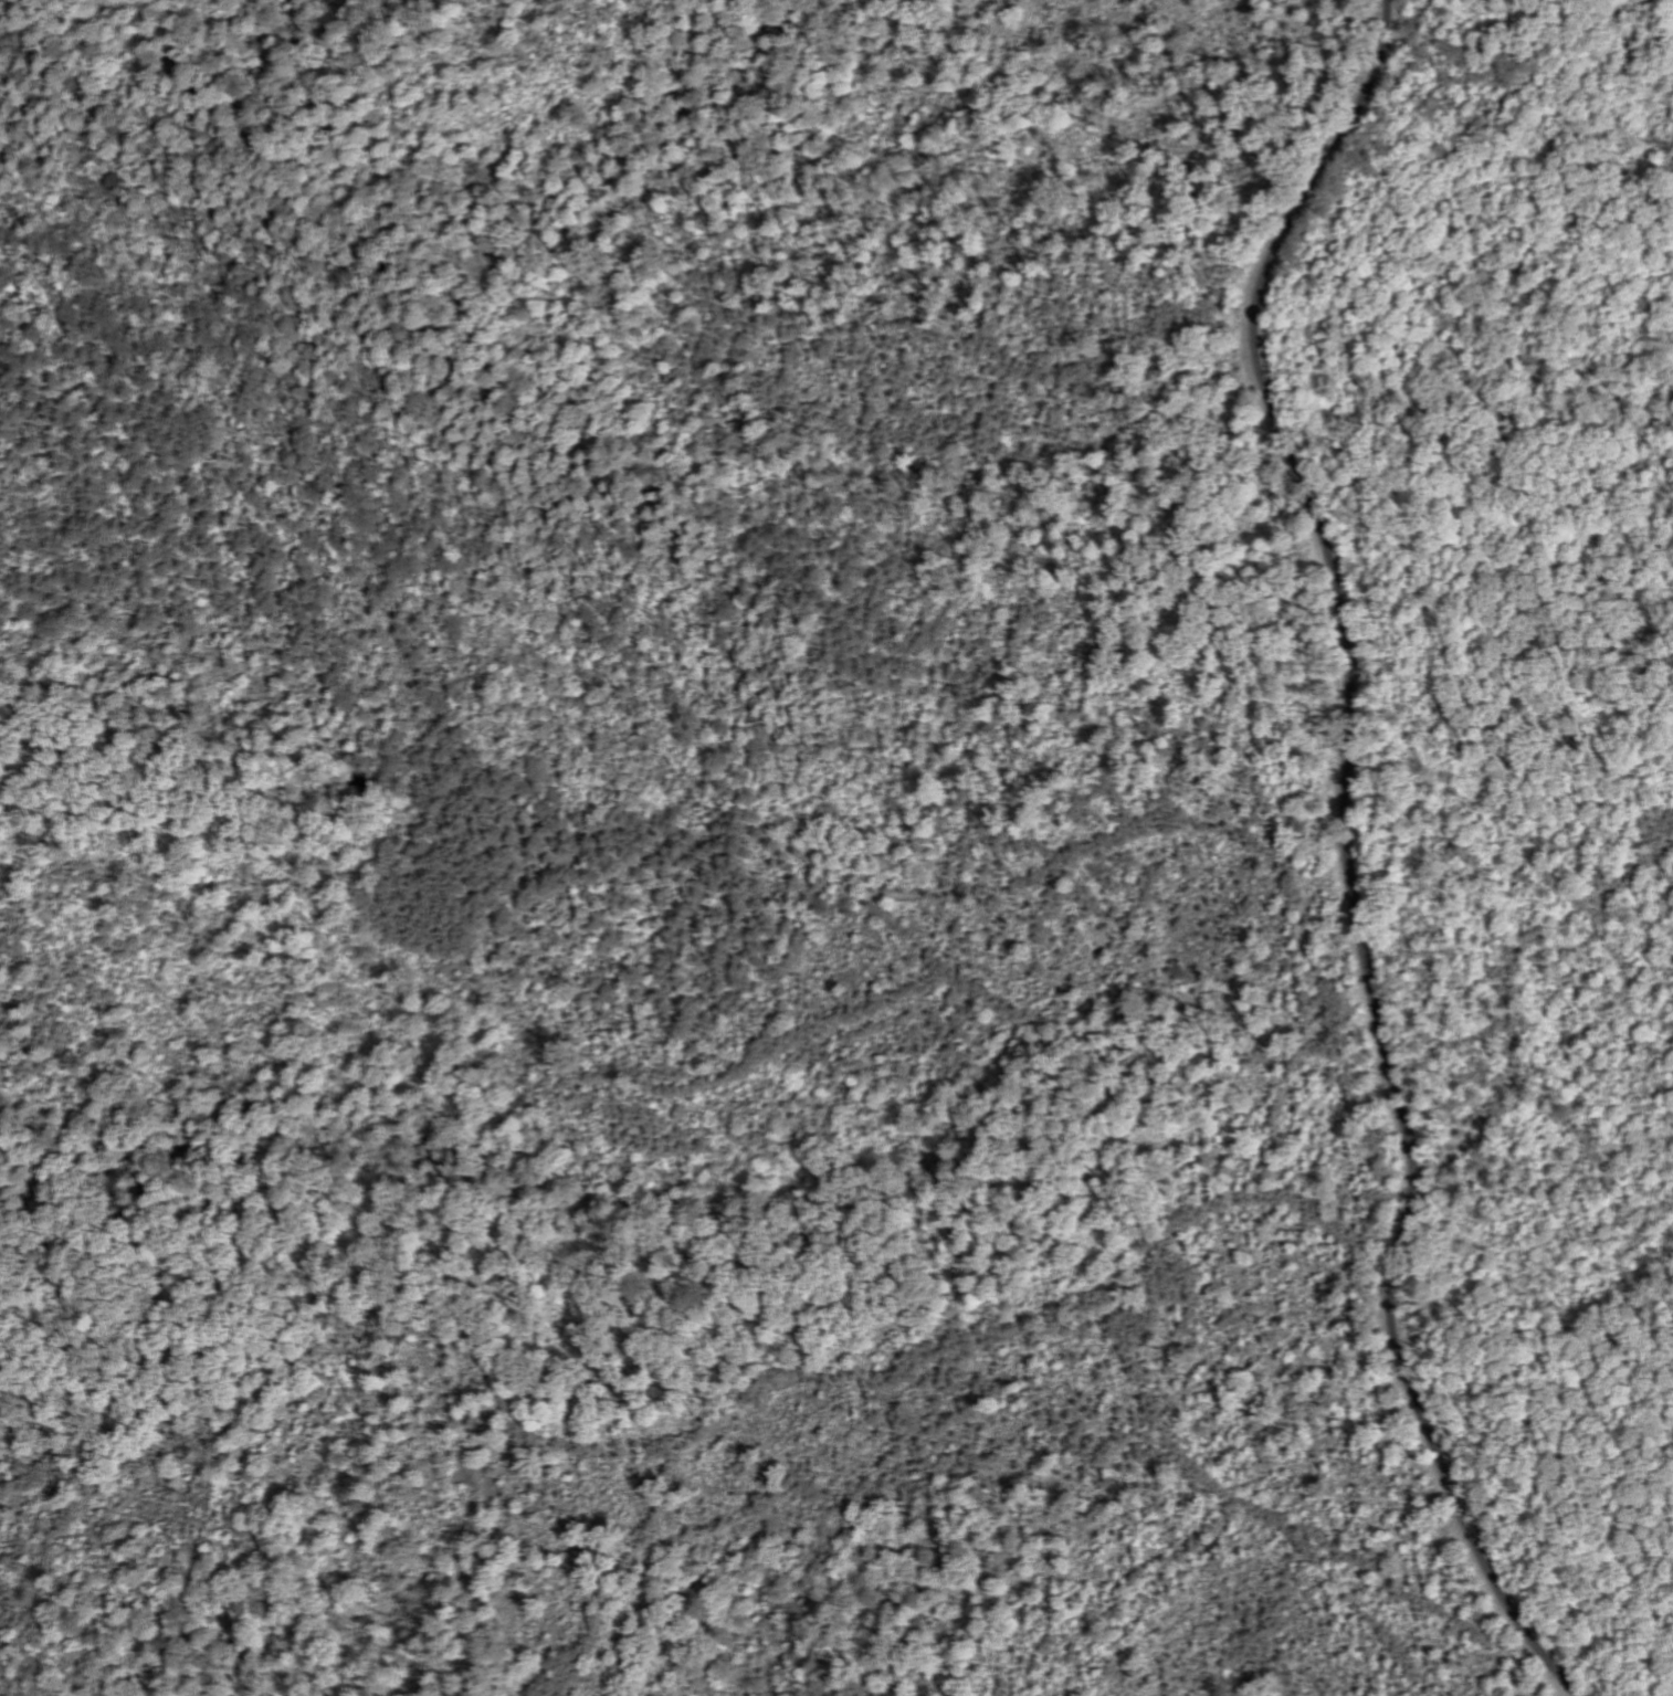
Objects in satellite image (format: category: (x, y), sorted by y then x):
road: (1348, 855)

